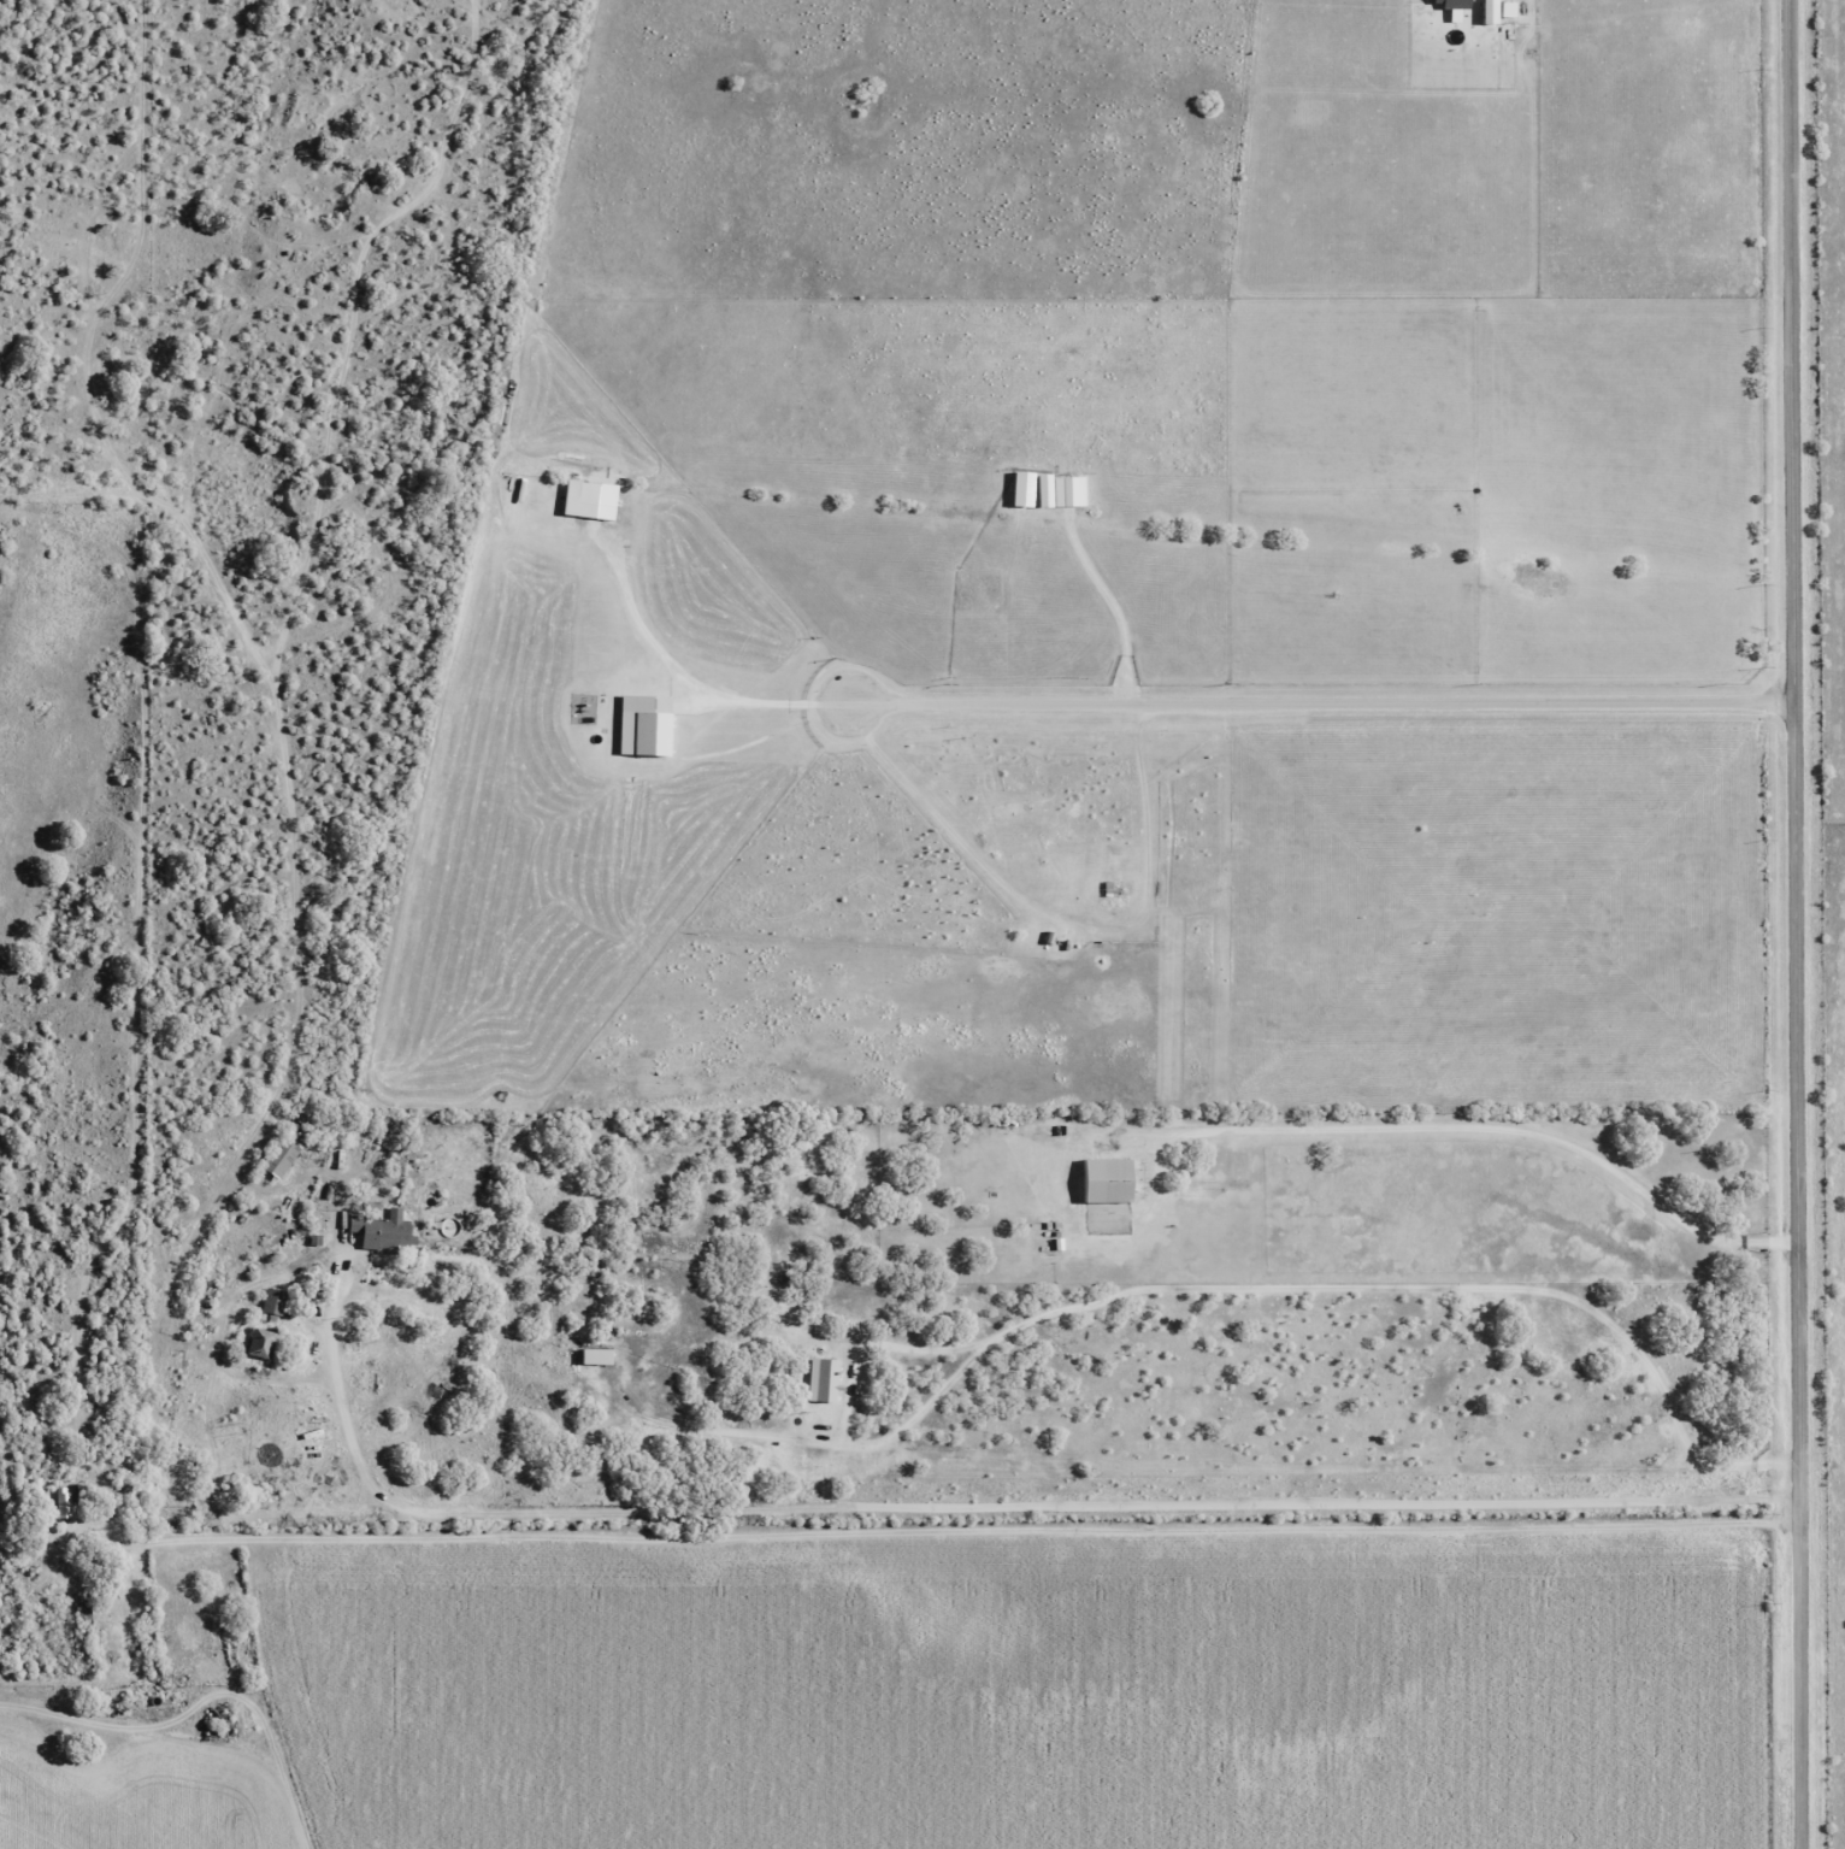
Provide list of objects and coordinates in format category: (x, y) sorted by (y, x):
road: (776, 702)
road: (1328, 703)
road: (1797, 924)
building: (277, 1158)
building: (1104, 1179)
building: (379, 1231)
building: (270, 1300)
building: (258, 1343)
building: (69, 1497)
road: (966, 1511)
road: (1756, 1526)
road: (937, 1535)
building: (79, 1613)
road: (117, 1759)

